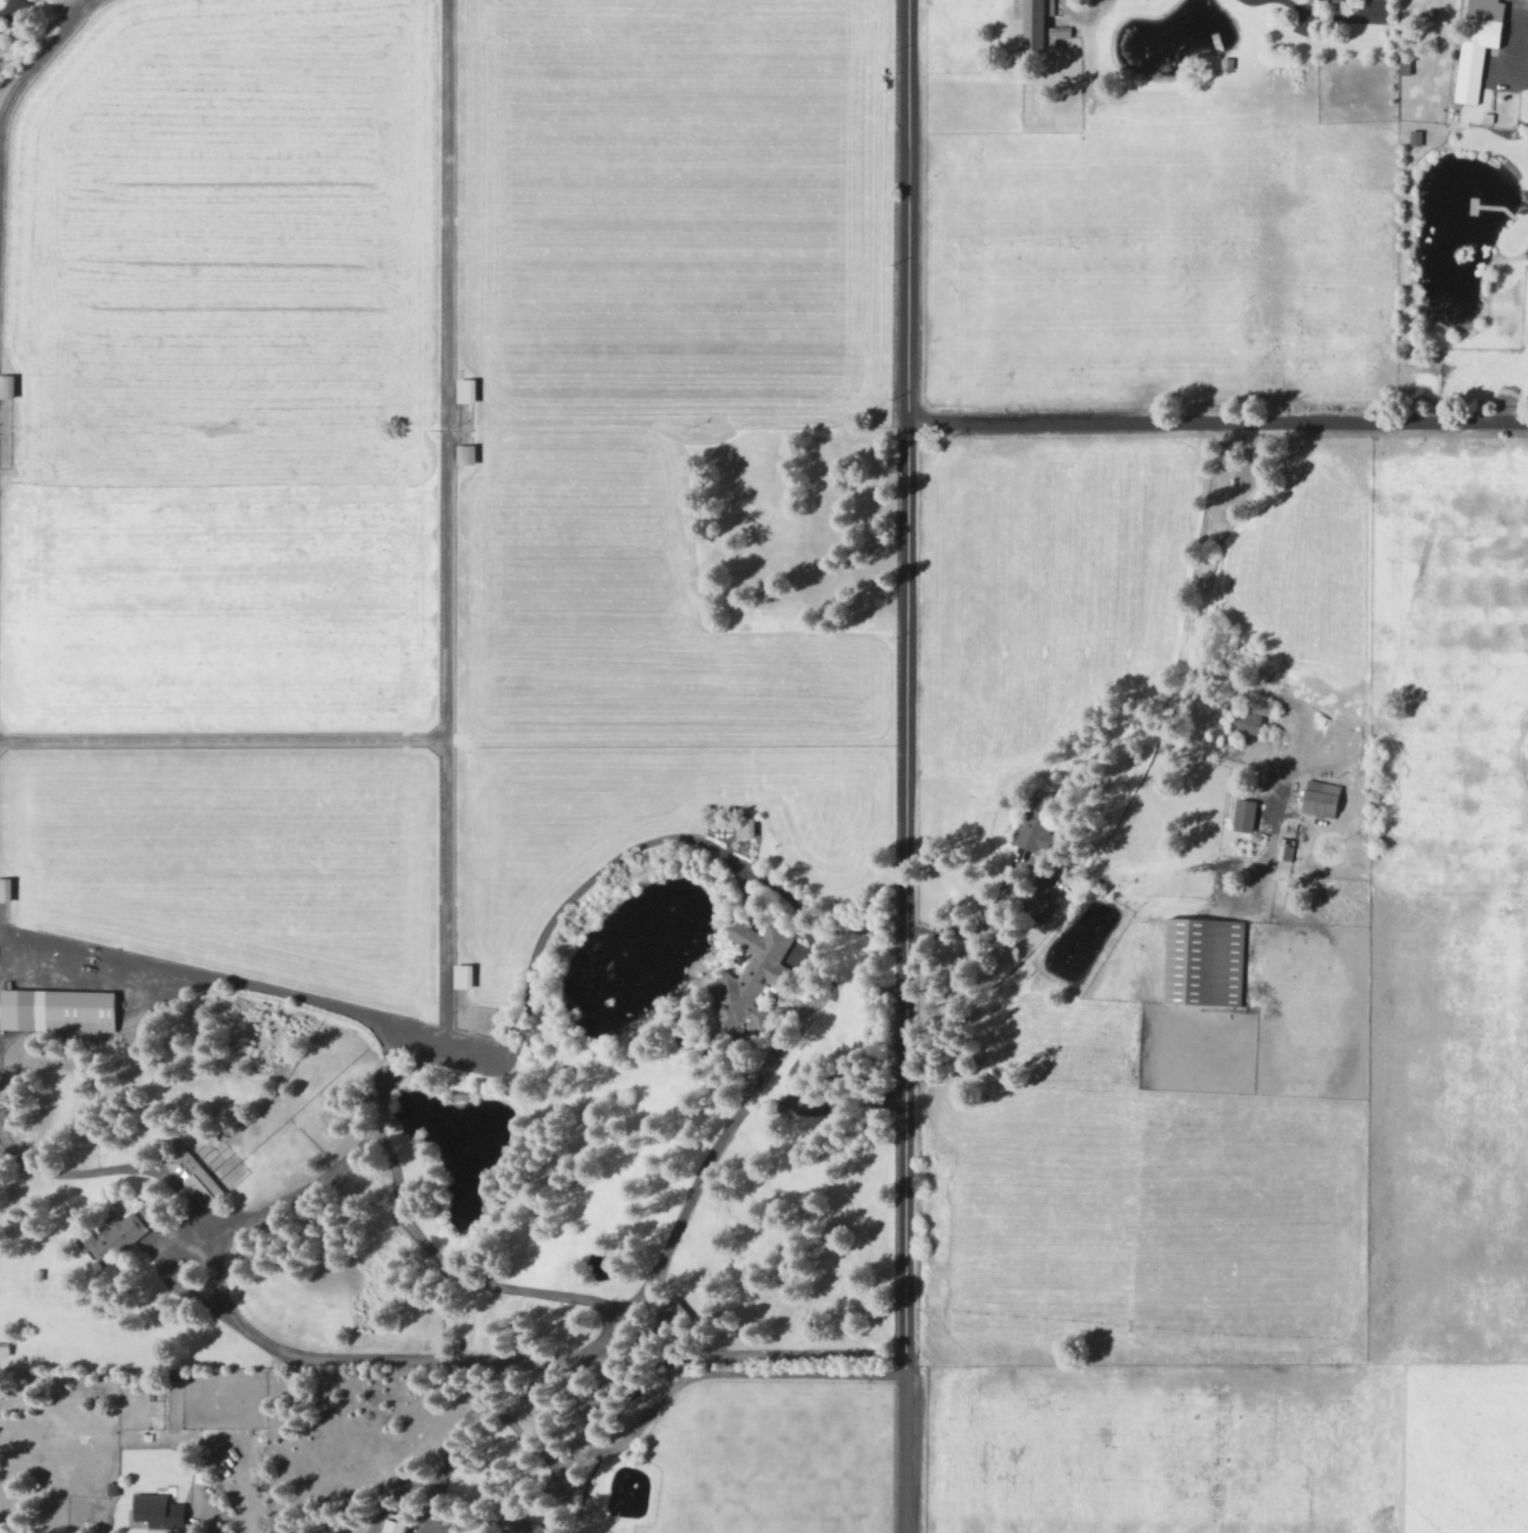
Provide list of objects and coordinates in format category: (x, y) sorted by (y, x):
building: (1332, 0)
building: (15, 9)
road: (62, 10)
building: (1040, 24)
building: (1479, 45)
building: (1416, 136)
crop: (1173, 303)
building: (7, 386)
road: (1220, 420)
building: (467, 454)
road: (912, 461)
crop: (428, 480)
building: (1323, 797)
building: (1246, 814)
building: (746, 825)
building: (6, 888)
building: (1049, 900)
road: (979, 909)
building: (1205, 959)
building: (748, 972)
building: (464, 974)
road: (258, 988)
building: (57, 1009)
crop: (1243, 1113)
road: (709, 1164)
building: (194, 1176)
road: (905, 1227)
building: (112, 1236)
road: (463, 1266)
building: (678, 1312)
road: (373, 1353)
road: (716, 1372)
building: (113, 1487)
building: (160, 1511)
building: (518, 1524)
building: (396, 1526)

